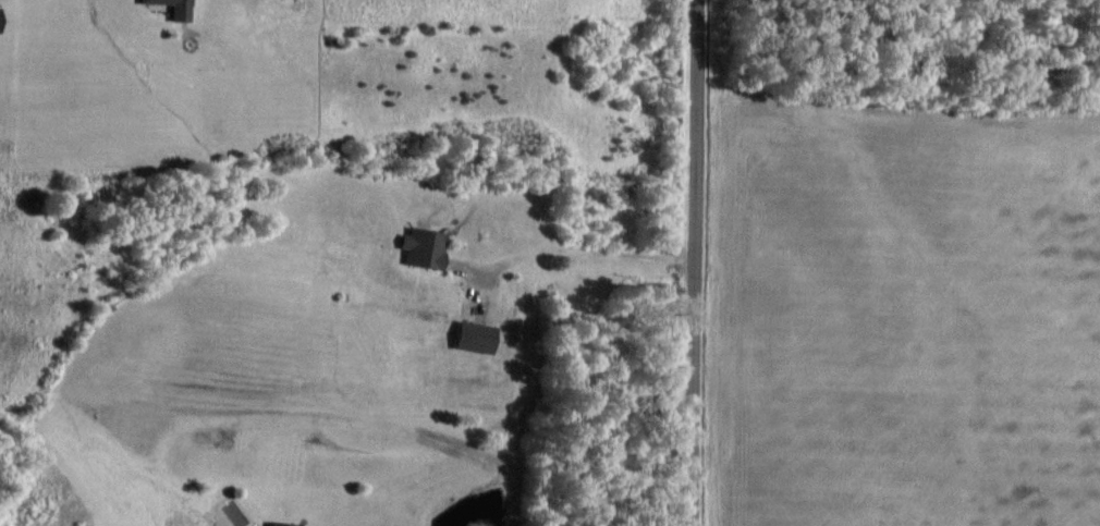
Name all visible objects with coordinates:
building: (180, 9)
building: (2, 20)
building: (428, 249)
road: (695, 262)
building: (481, 339)

